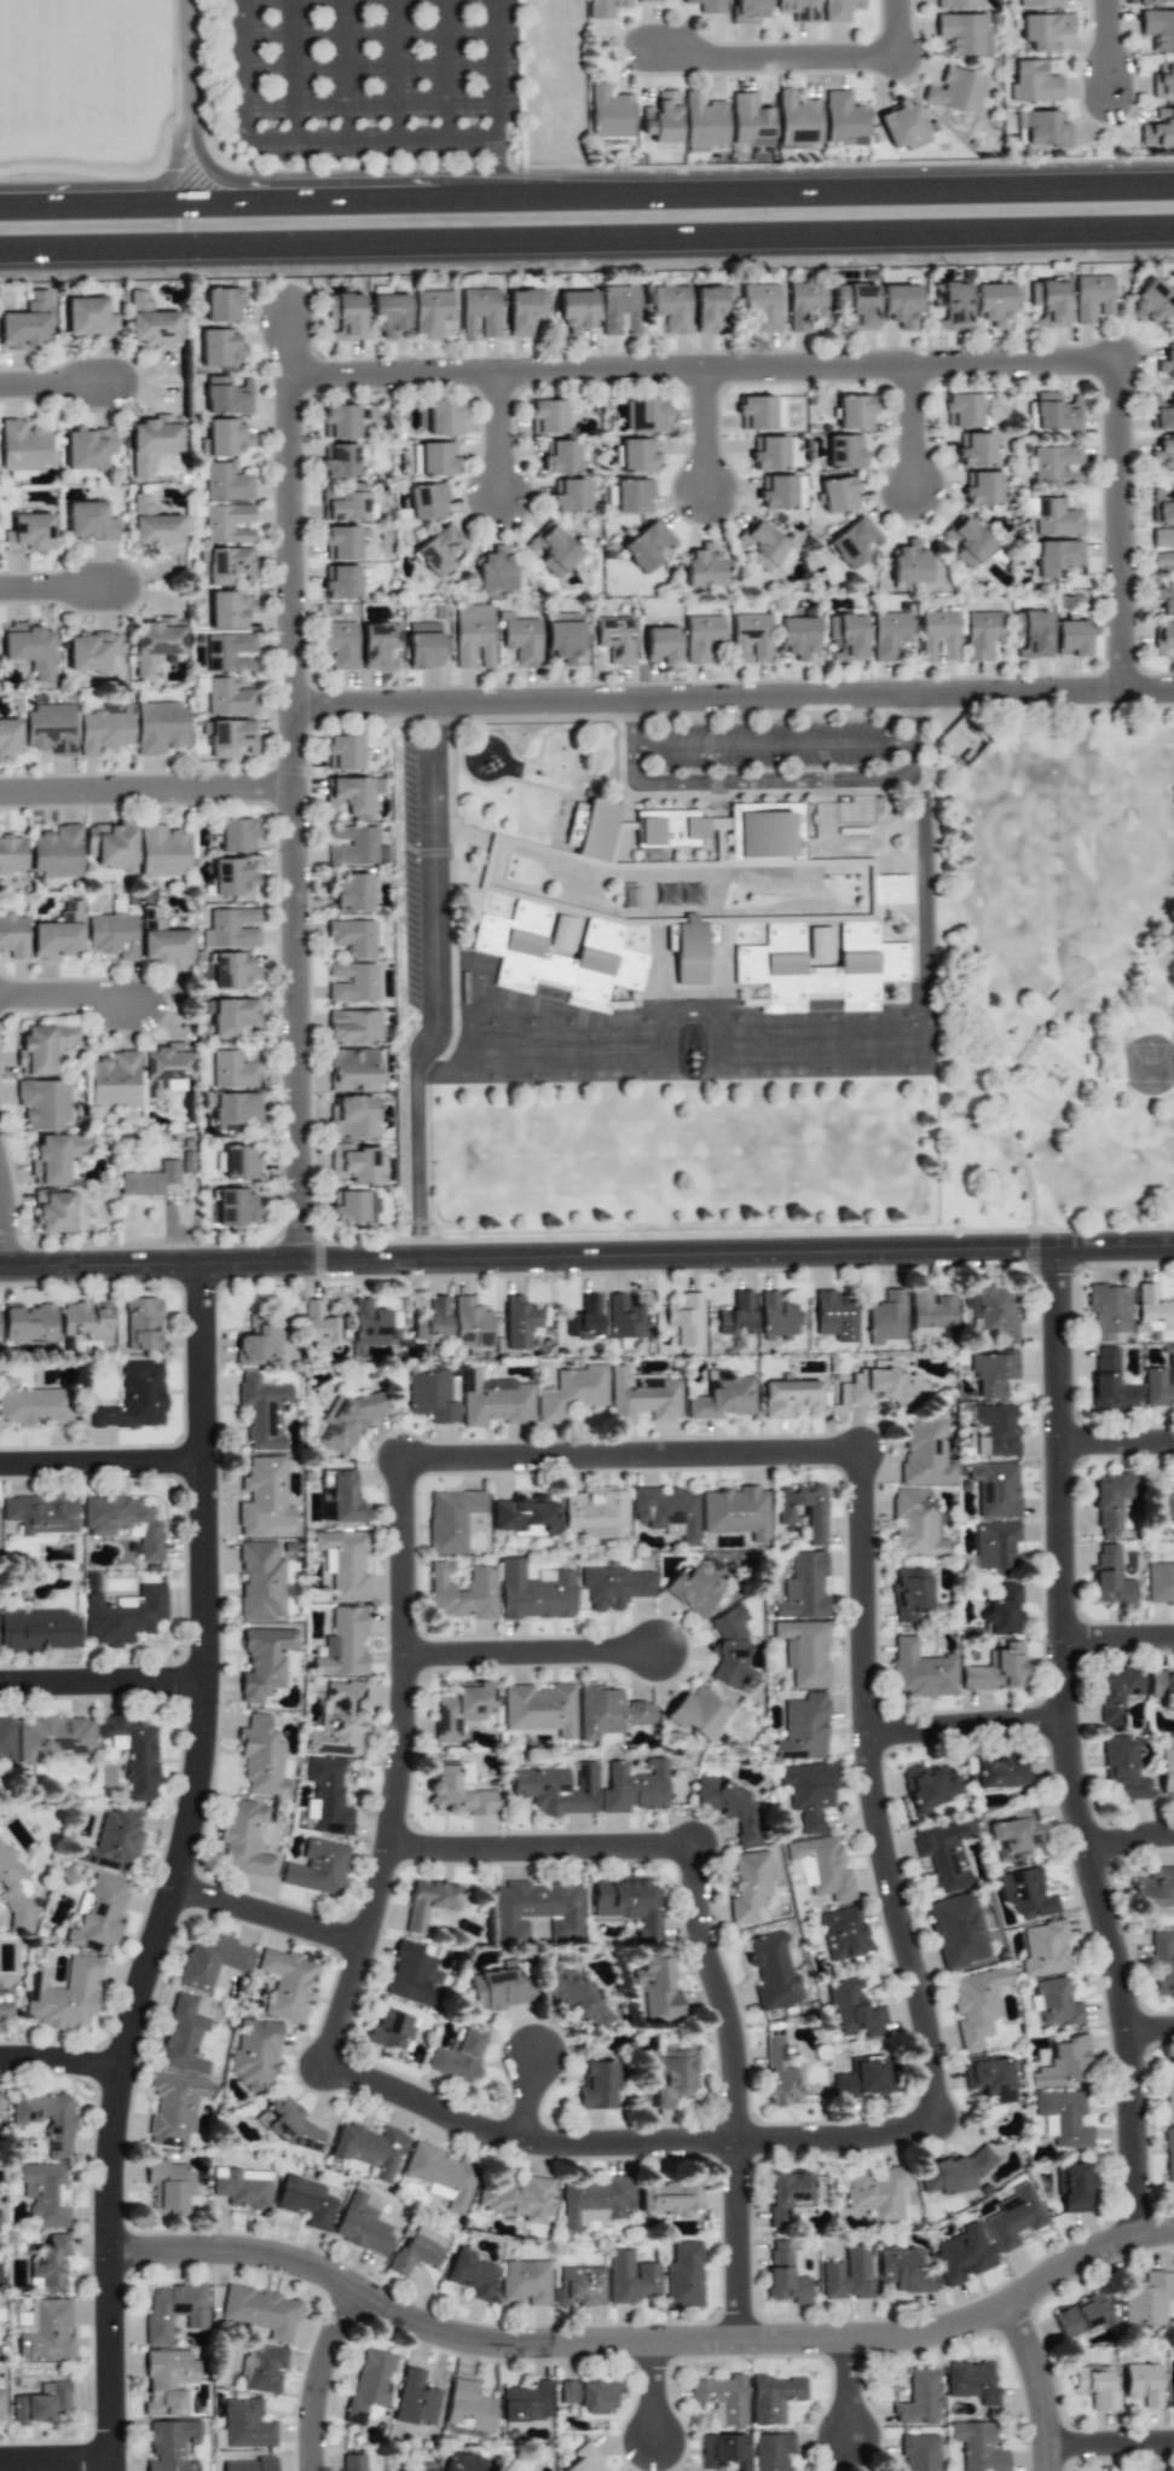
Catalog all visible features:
building: (1155, 0)
building: (1039, 2)
building: (958, 4)
building: (707, 6)
building: (605, 7)
building: (798, 10)
building: (838, 10)
building: (750, 11)
road: (900, 25)
building: (1158, 29)
building: (1045, 30)
building: (964, 33)
road: (1110, 50)
road: (775, 54)
road: (290, 68)
road: (342, 68)
road: (395, 68)
road: (443, 68)
building: (1163, 80)
building: (1033, 82)
building: (956, 91)
road: (495, 102)
road: (184, 104)
building: (609, 112)
building: (661, 117)
building: (843, 117)
building: (797, 119)
crop: (92, 120)
building: (750, 121)
building: (704, 122)
building: (903, 125)
building: (1046, 128)
building: (1158, 129)
road: (299, 135)
road: (586, 203)
road: (586, 231)
building: (1092, 296)
building: (1049, 302)
building: (1152, 302)
building: (993, 304)
building: (222, 305)
building: (952, 305)
building: (762, 306)
building: (806, 306)
building: (858, 306)
building: (901, 306)
building: (672, 307)
building: (577, 310)
building: (620, 310)
building: (712, 310)
building: (524, 311)
building: (479, 312)
building: (389, 313)
building: (433, 313)
building: (346, 316)
building: (89, 317)
building: (25, 323)
building: (151, 323)
building: (220, 347)
building: (1166, 365)
road: (706, 373)
road: (58, 387)
building: (226, 396)
building: (966, 410)
building: (855, 411)
building: (1056, 411)
building: (761, 412)
building: (1162, 412)
building: (646, 415)
building: (546, 416)
building: (445, 418)
building: (339, 421)
road: (915, 429)
road: (709, 434)
building: (227, 437)
road: (502, 438)
building: (151, 441)
building: (23, 445)
building: (88, 448)
building: (975, 450)
building: (845, 451)
building: (773, 452)
building: (1163, 452)
building: (637, 455)
building: (561, 456)
building: (438, 458)
building: (339, 461)
building: (1054, 464)
building: (226, 483)
building: (981, 489)
building: (776, 491)
building: (839, 493)
building: (569, 496)
building: (632, 496)
building: (427, 501)
building: (347, 504)
building: (1162, 504)
building: (1056, 518)
building: (89, 521)
building: (227, 523)
building: (154, 526)
road: (1123, 529)
building: (29, 533)
building: (854, 542)
building: (966, 542)
building: (341, 543)
building: (761, 544)
building: (648, 545)
building: (1162, 545)
building: (440, 550)
building: (554, 550)
building: (1059, 558)
building: (785, 559)
building: (909, 561)
building: (226, 565)
building: (704, 566)
building: (496, 570)
building: (340, 582)
road: (59, 590)
building: (1164, 597)
building: (229, 610)
building: (889, 634)
building: (982, 634)
building: (1031, 634)
building: (473, 635)
building: (846, 635)
building: (938, 635)
building: (701, 636)
building: (562, 637)
building: (750, 637)
building: (797, 637)
building: (1071, 637)
building: (617, 639)
building: (1163, 639)
building: (155, 643)
building: (339, 643)
building: (378, 645)
building: (660, 645)
building: (29, 647)
building: (423, 648)
building: (91, 651)
building: (229, 652)
building: (229, 697)
road: (734, 702)
building: (161, 727)
building: (50, 728)
building: (103, 731)
building: (231, 737)
building: (8, 738)
road: (773, 743)
building: (343, 752)
road: (774, 779)
road: (295, 786)
road: (148, 792)
building: (352, 793)
building: (670, 827)
building: (597, 830)
building: (768, 830)
building: (237, 835)
building: (110, 843)
building: (351, 844)
building: (163, 850)
building: (57, 851)
building: (12, 854)
building: (232, 878)
building: (890, 889)
building: (351, 891)
building: (230, 928)
building: (58, 934)
building: (112, 934)
building: (13, 936)
building: (352, 936)
building: (162, 941)
building: (689, 952)
building: (557, 958)
park: (1053, 968)
building: (821, 969)
building: (351, 982)
road: (435, 986)
road: (73, 997)
building: (231, 1015)
building: (354, 1027)
building: (41, 1047)
road: (1023, 1052)
building: (166, 1069)
building: (233, 1069)
building: (352, 1069)
building: (112, 1080)
building: (44, 1103)
building: (236, 1108)
building: (351, 1115)
building: (56, 1157)
building: (239, 1162)
building: (357, 1164)
building: (150, 1179)
building: (236, 1207)
building: (353, 1207)
building: (53, 1211)
road: (7, 1219)
road: (586, 1258)
building: (1109, 1307)
building: (1152, 1307)
building: (991, 1310)
building: (932, 1311)
building: (776, 1315)
building: (736, 1316)
building: (834, 1316)
building: (624, 1317)
building: (585, 1318)
building: (686, 1318)
building: (886, 1318)
building: (87, 1320)
building: (433, 1320)
building: (29, 1322)
building: (520, 1322)
building: (143, 1323)
building: (318, 1323)
building: (370, 1323)
building: (470, 1323)
building: (1106, 1336)
building: (260, 1339)
building: (993, 1374)
building: (1110, 1381)
building: (1159, 1385)
building: (883, 1386)
building: (571, 1392)
building: (643, 1396)
building: (723, 1396)
building: (432, 1397)
building: (790, 1397)
building: (134, 1398)
building: (493, 1399)
building: (33, 1405)
building: (262, 1411)
building: (345, 1421)
building: (995, 1431)
road: (1117, 1443)
building: (925, 1453)
road: (632, 1454)
road: (102, 1460)
building: (995, 1489)
building: (264, 1496)
building: (345, 1497)
building: (1111, 1501)
building: (1163, 1505)
building: (667, 1511)
building: (595, 1512)
building: (736, 1512)
building: (41, 1514)
building: (815, 1514)
building: (525, 1515)
building: (451, 1519)
building: (125, 1523)
building: (916, 1524)
building: (995, 1546)
building: (343, 1563)
building: (1111, 1576)
building: (260, 1581)
building: (1159, 1583)
building: (614, 1587)
building: (803, 1587)
building: (693, 1589)
building: (462, 1592)
building: (534, 1592)
building: (910, 1593)
building: (1004, 1610)
building: (123, 1615)
building: (39, 1630)
road: (1120, 1638)
building: (343, 1644)
road: (532, 1650)
building: (731, 1651)
building: (804, 1651)
building: (265, 1662)
building: (996, 1669)
building: (920, 1670)
road: (103, 1678)
building: (1162, 1688)
building: (1115, 1696)
building: (540, 1708)
building: (461, 1710)
building: (608, 1711)
building: (698, 1713)
building: (340, 1720)
road: (968, 1725)
building: (803, 1727)
building: (7, 1738)
building: (53, 1738)
road: (1069, 1747)
building: (133, 1754)
building: (261, 1757)
road: (397, 1760)
building: (1123, 1769)
building: (999, 1772)
building: (1167, 1772)
building: (634, 1786)
building: (930, 1786)
road: (877, 1788)
building: (554, 1789)
building: (809, 1792)
building: (458, 1794)
building: (328, 1797)
building: (734, 1808)
building: (1014, 1835)
building: (244, 1838)
building: (112, 1841)
road: (1129, 1841)
road: (540, 1847)
building: (944, 1854)
building: (820, 1866)
building: (318, 1867)
road: (179, 1871)
building: (748, 1886)
building: (1155, 1888)
building: (15, 1893)
building: (1026, 1893)
building: (428, 1901)
building: (628, 1901)
building: (536, 1910)
road: (270, 1913)
building: (98, 1915)
building: (956, 1930)
building: (843, 1933)
building: (1043, 1948)
building: (210, 1959)
building: (1162, 1964)
building: (773, 1973)
building: (413, 1975)
building: (287, 1984)
building: (657, 1986)
building: (499, 1988)
building: (63, 1994)
building: (576, 1997)
building: (1054, 2002)
building: (6, 2004)
building: (976, 2005)
building: (854, 2009)
building: (389, 2030)
road: (1151, 2031)
building: (183, 2037)
building: (255, 2055)
building: (459, 2056)
road: (60, 2057)
building: (1064, 2063)
building: (781, 2074)
building: (671, 2075)
building: (866, 2077)
building: (991, 2078)
building: (598, 2085)
road: (736, 2089)
building: (1169, 2091)
road: (528, 2092)
building: (174, 2108)
building: (0, 2115)
building: (1063, 2118)
building: (46, 2119)
building: (288, 2123)
road: (619, 2138)
building: (370, 2149)
building: (1168, 2154)
building: (955, 2172)
building: (443, 2175)
building: (168, 2187)
building: (242, 2187)
building: (1075, 2187)
building: (878, 2193)
building: (669, 2195)
building: (786, 2196)
building: (516, 2198)
building: (594, 2200)
building: (306, 2201)
building: (1014, 2217)
building: (362, 2225)
building: (417, 2250)
building: (962, 2253)
building: (48, 2264)
building: (903, 2270)
building: (472, 2274)
building: (785, 2274)
building: (683, 2275)
building: (848, 2275)
building: (631, 2277)
building: (526, 2281)
building: (580, 2287)
building: (1146, 2298)
building: (173, 2310)
building: (260, 2311)
building: (1082, 2316)
building: (45, 2331)
road: (643, 2340)
building: (262, 2368)
road: (313, 2375)
building: (168, 2381)
building: (972, 2381)
building: (1172, 2381)
building: (370, 2383)
road: (1043, 2384)
building: (1144, 2384)
road: (848, 2385)
building: (1097, 2386)
road: (650, 2388)
building: (589, 2397)
building: (775, 2397)
building: (722, 2398)
building: (919, 2398)
building: (415, 2400)
building: (526, 2402)
building: (41, 2403)
building: (1, 2404)
building: (469, 2407)
building: (247, 2424)
road: (1111, 2440)
building: (170, 2444)
building: (978, 2446)
building: (771, 2450)
building: (723, 2452)
building: (920, 2453)
building: (585, 2459)
road: (53, 2460)
building: (462, 2461)
building: (351, 2463)
building: (248, 2465)
building: (422, 2466)

